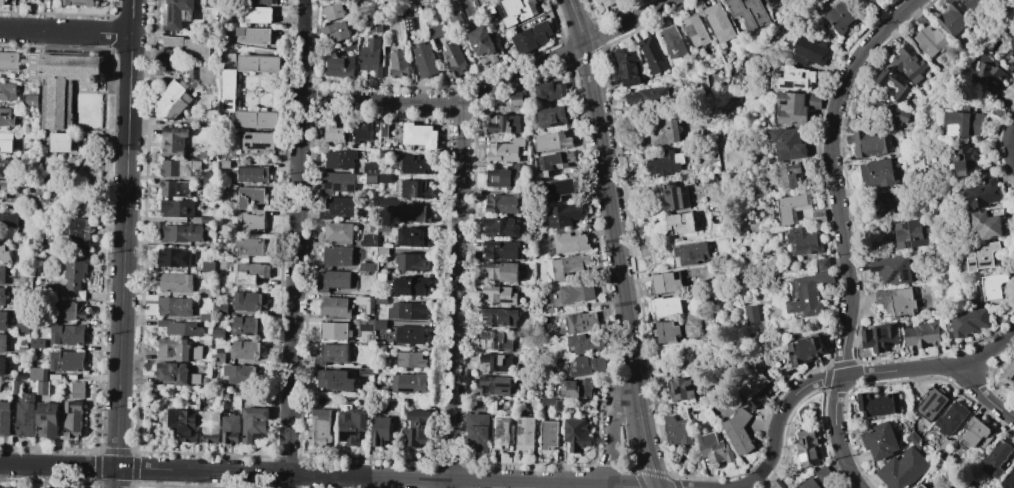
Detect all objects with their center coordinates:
building: (487, 0)
building: (421, 1)
building: (629, 1)
building: (769, 1)
building: (2, 2)
building: (259, 2)
building: (606, 2)
building: (867, 2)
building: (77, 3)
building: (432, 3)
building: (972, 4)
building: (518, 11)
building: (333, 12)
building: (749, 12)
building: (176, 13)
building: (259, 15)
building: (453, 17)
building: (841, 17)
building: (953, 19)
building: (406, 22)
building: (718, 22)
road: (305, 28)
building: (377, 28)
building: (336, 31)
building: (435, 31)
building: (695, 31)
road: (66, 32)
building: (259, 36)
building: (532, 37)
building: (386, 39)
building: (931, 41)
building: (673, 42)
building: (483, 45)
building: (190, 46)
building: (812, 52)
building: (652, 54)
building: (371, 56)
building: (1009, 57)
building: (425, 59)
building: (455, 60)
building: (9, 61)
building: (260, 63)
building: (909, 63)
building: (398, 64)
building: (33, 66)
building: (339, 66)
building: (627, 67)
building: (990, 72)
building: (208, 73)
building: (796, 78)
road: (131, 81)
building: (64, 83)
building: (894, 86)
road: (494, 87)
building: (33, 88)
building: (228, 90)
building: (550, 90)
building: (8, 91)
building: (645, 96)
building: (31, 99)
building: (173, 99)
building: (514, 99)
building: (814, 101)
building: (792, 108)
building: (996, 111)
building: (886, 113)
building: (6, 117)
building: (552, 117)
building: (258, 119)
building: (502, 123)
building: (377, 124)
building: (964, 124)
building: (384, 130)
building: (363, 131)
building: (663, 131)
building: (332, 134)
building: (419, 135)
building: (173, 141)
building: (257, 141)
building: (553, 141)
building: (6, 142)
building: (61, 142)
building: (870, 142)
building: (787, 144)
road: (1011, 146)
building: (504, 150)
building: (203, 155)
building: (342, 158)
building: (964, 160)
building: (556, 162)
building: (666, 163)
building: (223, 164)
building: (6, 165)
building: (416, 165)
building: (179, 168)
building: (370, 168)
building: (360, 171)
building: (876, 173)
building: (252, 174)
building: (790, 176)
building: (505, 177)
building: (384, 178)
building: (371, 180)
building: (337, 183)
building: (175, 188)
building: (560, 188)
building: (3, 189)
building: (416, 189)
building: (983, 193)
building: (674, 196)
building: (252, 197)
building: (390, 202)
building: (503, 203)
building: (372, 204)
building: (882, 204)
building: (178, 208)
building: (337, 208)
building: (792, 208)
building: (414, 213)
building: (564, 215)
building: (819, 216)
building: (8, 220)
building: (200, 220)
building: (251, 221)
building: (989, 222)
building: (679, 224)
building: (500, 227)
building: (383, 229)
building: (338, 231)
road: (843, 231)
building: (80, 233)
building: (181, 233)
building: (910, 234)
building: (414, 237)
building: (221, 238)
building: (369, 240)
building: (571, 241)
building: (804, 241)
road: (614, 243)
building: (249, 247)
building: (644, 249)
building: (501, 250)
building: (382, 251)
building: (4, 253)
building: (690, 254)
building: (337, 255)
building: (982, 256)
building: (175, 257)
building: (412, 262)
building: (823, 264)
building: (568, 266)
building: (207, 267)
building: (368, 267)
building: (892, 270)
building: (500, 271)
building: (74, 272)
road: (295, 272)
building: (250, 273)
building: (2, 275)
building: (385, 276)
building: (337, 280)
building: (175, 282)
building: (666, 283)
building: (411, 285)
building: (991, 286)
building: (577, 292)
building: (207, 293)
building: (809, 294)
building: (498, 295)
building: (2, 296)
road: (457, 296)
building: (364, 299)
building: (380, 299)
building: (250, 301)
building: (896, 302)
building: (176, 306)
building: (665, 306)
building: (334, 307)
building: (219, 309)
building: (68, 311)
building: (407, 311)
building: (550, 311)
building: (751, 315)
building: (205, 317)
building: (498, 317)
building: (707, 317)
building: (3, 320)
building: (581, 322)
building: (969, 322)
building: (708, 323)
road: (122, 325)
building: (248, 325)
building: (365, 325)
building: (380, 325)
building: (23, 326)
building: (181, 328)
building: (335, 331)
building: (666, 332)
building: (218, 333)
building: (922, 333)
building: (68, 334)
building: (409, 335)
building: (879, 337)
building: (495, 340)
building: (3, 343)
building: (37, 343)
building: (585, 343)
building: (179, 349)
building: (248, 350)
building: (805, 350)
building: (23, 352)
building: (336, 354)
building: (217, 357)
building: (410, 359)
building: (67, 361)
building: (496, 363)
building: (2, 366)
building: (587, 366)
building: (365, 371)
building: (36, 373)
building: (176, 373)
building: (242, 374)
building: (22, 375)
road: (846, 376)
building: (1008, 376)
building: (334, 380)
building: (408, 383)
building: (494, 385)
building: (757, 386)
building: (42, 388)
building: (575, 388)
building: (680, 388)
building: (78, 390)
road: (982, 391)
building: (537, 392)
building: (225, 394)
building: (549, 401)
building: (931, 403)
building: (877, 404)
building: (535, 405)
building: (559, 406)
building: (25, 415)
building: (5, 418)
building: (48, 419)
building: (73, 419)
building: (951, 419)
building: (184, 422)
building: (254, 424)
building: (210, 426)
building: (352, 426)
building: (320, 428)
building: (230, 429)
building: (418, 429)
building: (380, 431)
building: (477, 431)
building: (738, 431)
building: (677, 432)
road: (611, 433)
building: (977, 433)
building: (501, 434)
building: (525, 434)
building: (576, 434)
building: (549, 435)
building: (880, 440)
building: (915, 440)
building: (944, 444)
building: (714, 448)
building: (808, 448)
building: (998, 457)
building: (903, 469)
road: (184, 470)
building: (824, 475)
building: (1008, 480)
road: (523, 482)
building: (778, 484)
building: (809, 484)
building: (921, 486)
building: (2, 487)
road: (610, 487)

